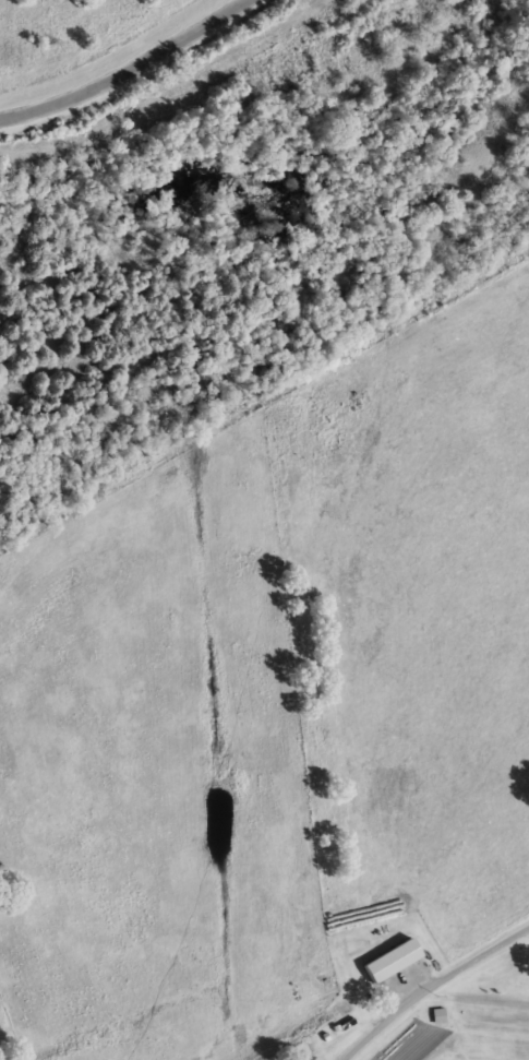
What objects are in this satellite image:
road: (124, 70)
building: (388, 958)
road: (432, 986)
building: (440, 1016)

